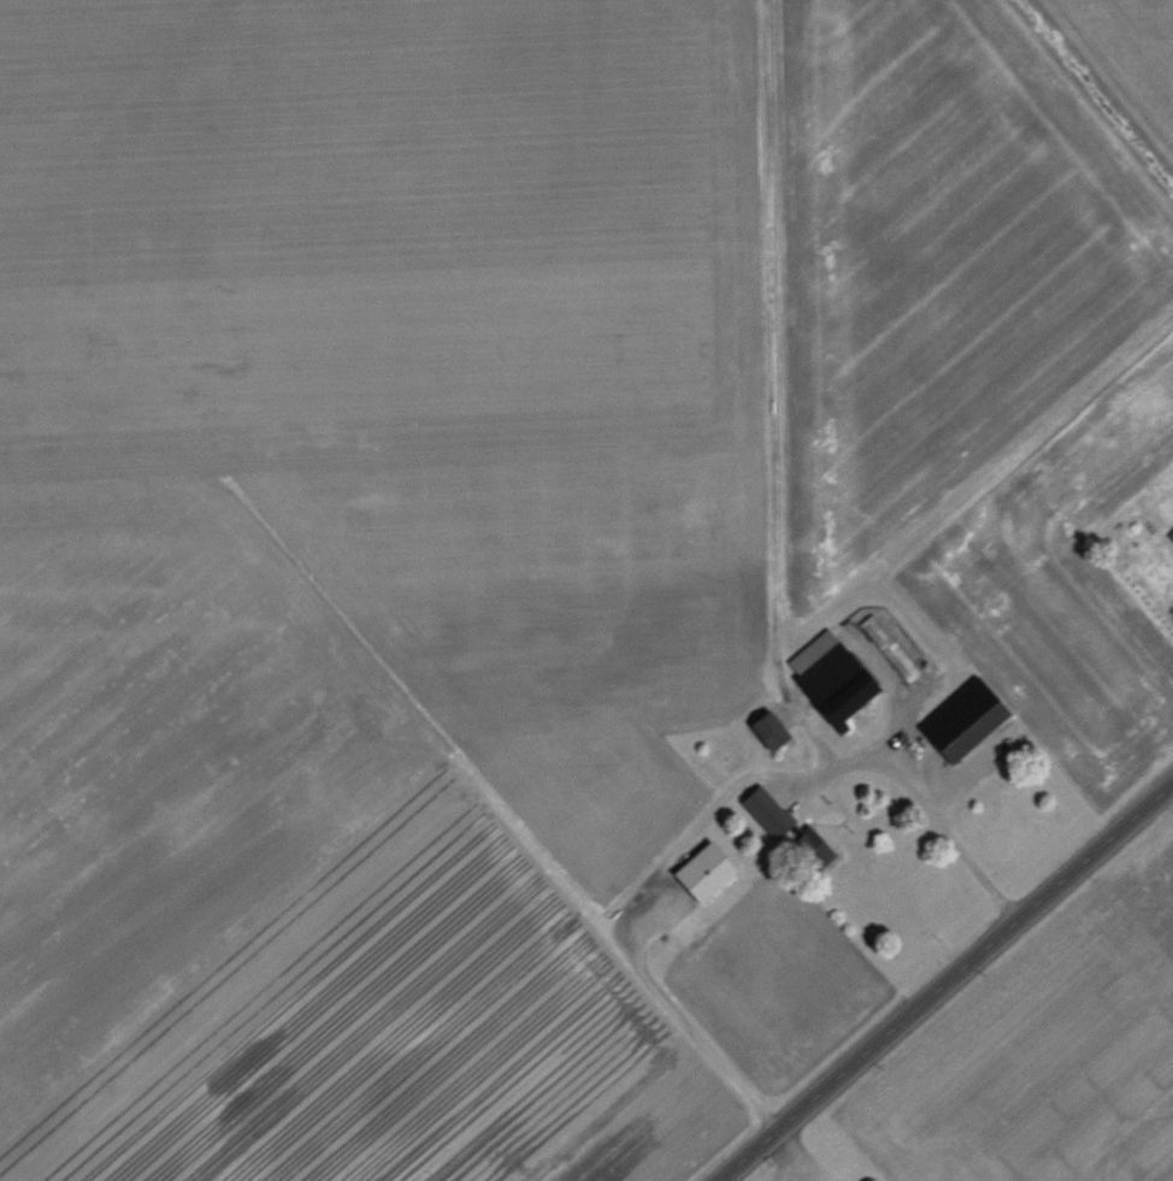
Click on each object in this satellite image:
building: (888, 646)
building: (827, 675)
building: (961, 719)
building: (766, 728)
road: (708, 810)
building: (764, 810)
building: (700, 872)
road: (945, 981)
road: (790, 1153)

